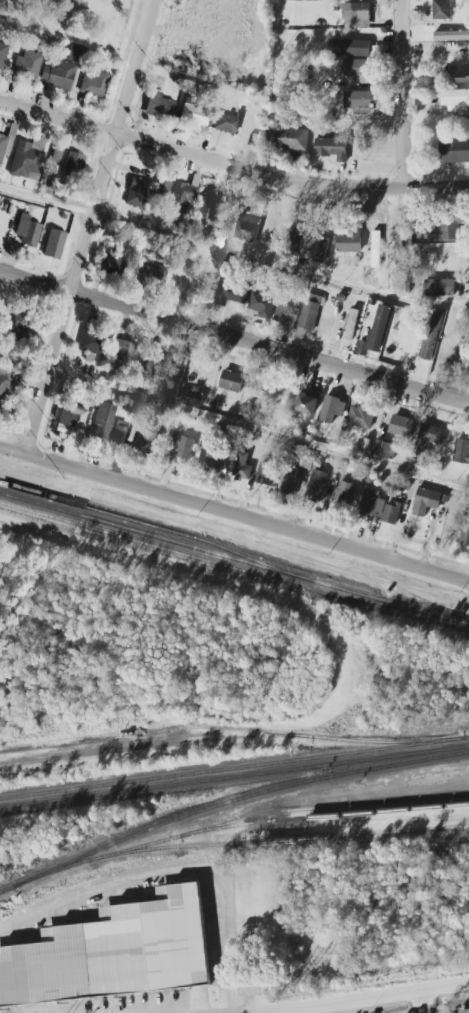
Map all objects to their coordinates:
building: (442, 11)
building: (358, 12)
building: (452, 36)
building: (350, 48)
building: (3, 55)
building: (27, 65)
road: (135, 67)
building: (361, 70)
building: (63, 71)
building: (463, 78)
building: (95, 85)
road: (403, 94)
building: (361, 100)
building: (455, 100)
building: (161, 106)
building: (364, 112)
building: (192, 114)
building: (228, 124)
building: (289, 140)
building: (4, 147)
building: (332, 147)
building: (454, 150)
building: (27, 157)
building: (56, 157)
building: (73, 164)
road: (231, 166)
building: (162, 190)
building: (136, 192)
building: (182, 195)
building: (208, 208)
building: (248, 227)
building: (27, 230)
building: (447, 231)
building: (351, 240)
building: (56, 244)
building: (306, 245)
building: (400, 248)
building: (377, 249)
road: (233, 253)
building: (112, 261)
building: (148, 274)
building: (440, 288)
building: (232, 294)
road: (71, 295)
building: (262, 306)
building: (286, 316)
building: (314, 318)
building: (22, 324)
building: (352, 324)
building: (376, 331)
road: (234, 338)
building: (92, 343)
building: (428, 343)
building: (123, 349)
building: (160, 363)
building: (5, 381)
building: (231, 381)
building: (257, 387)
building: (192, 395)
building: (307, 404)
building: (333, 407)
building: (246, 411)
building: (73, 415)
building: (361, 416)
building: (103, 421)
road: (234, 425)
building: (402, 426)
building: (120, 432)
building: (427, 441)
building: (142, 444)
building: (182, 449)
building: (385, 449)
building: (461, 451)
building: (214, 460)
building: (243, 465)
building: (268, 475)
building: (291, 483)
building: (318, 485)
building: (401, 486)
building: (346, 491)
building: (423, 501)
building: (373, 503)
building: (392, 512)
road: (234, 515)
railway: (142, 524)
building: (465, 535)
railway: (234, 558)
railway: (204, 561)
railway: (231, 729)
railway: (153, 748)
railway: (234, 769)
railway: (234, 777)
railway: (228, 801)
railway: (325, 816)
railway: (246, 820)
railway: (288, 841)
road: (176, 873)
building: (113, 953)
road: (354, 999)
road: (258, 1012)

